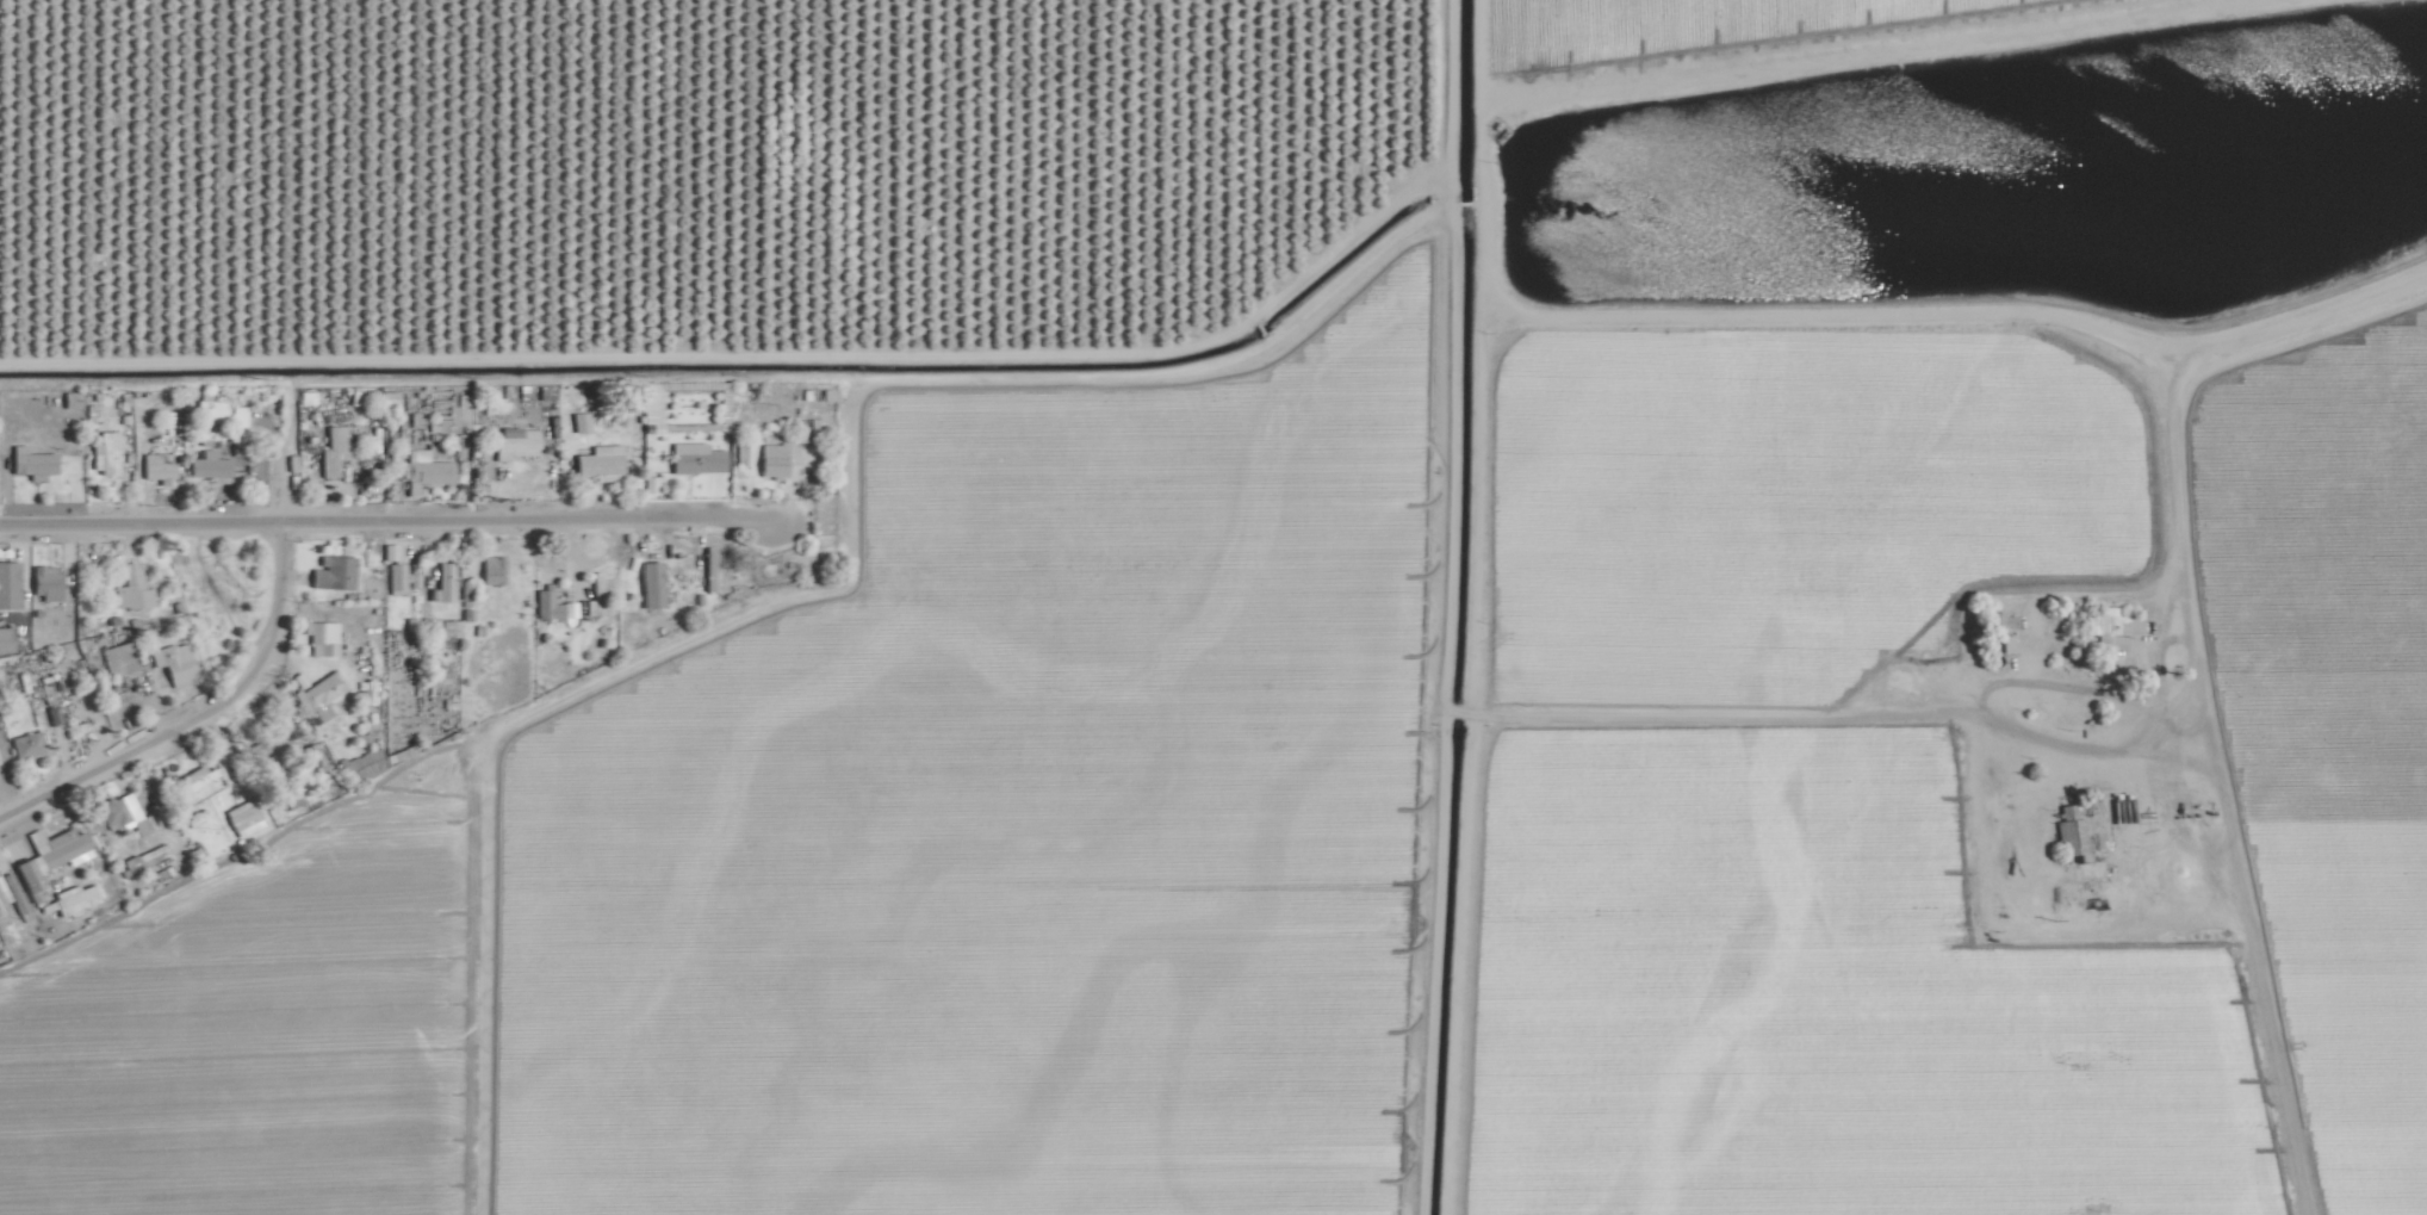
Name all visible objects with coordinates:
road: (2190, 379)
building: (389, 401)
building: (237, 416)
building: (581, 422)
building: (516, 442)
building: (334, 450)
building: (105, 453)
road: (278, 457)
building: (696, 458)
building: (774, 460)
building: (32, 461)
building: (601, 463)
building: (209, 465)
building: (157, 467)
building: (424, 467)
road: (384, 522)
building: (709, 560)
building: (494, 570)
building: (334, 572)
building: (402, 577)
building: (445, 582)
building: (45, 583)
building: (8, 584)
building: (652, 584)
building: (132, 589)
building: (595, 595)
building: (547, 603)
building: (2112, 622)
building: (449, 627)
building: (322, 638)
building: (6, 639)
building: (118, 659)
building: (174, 661)
building: (319, 694)
building: (54, 715)
road: (199, 715)
building: (26, 745)
building: (399, 746)
building: (314, 756)
building: (362, 763)
building: (198, 776)
building: (292, 800)
building: (124, 813)
building: (244, 818)
building: (2072, 833)
building: (58, 848)
building: (144, 858)
building: (29, 878)
building: (11, 897)
building: (75, 898)

